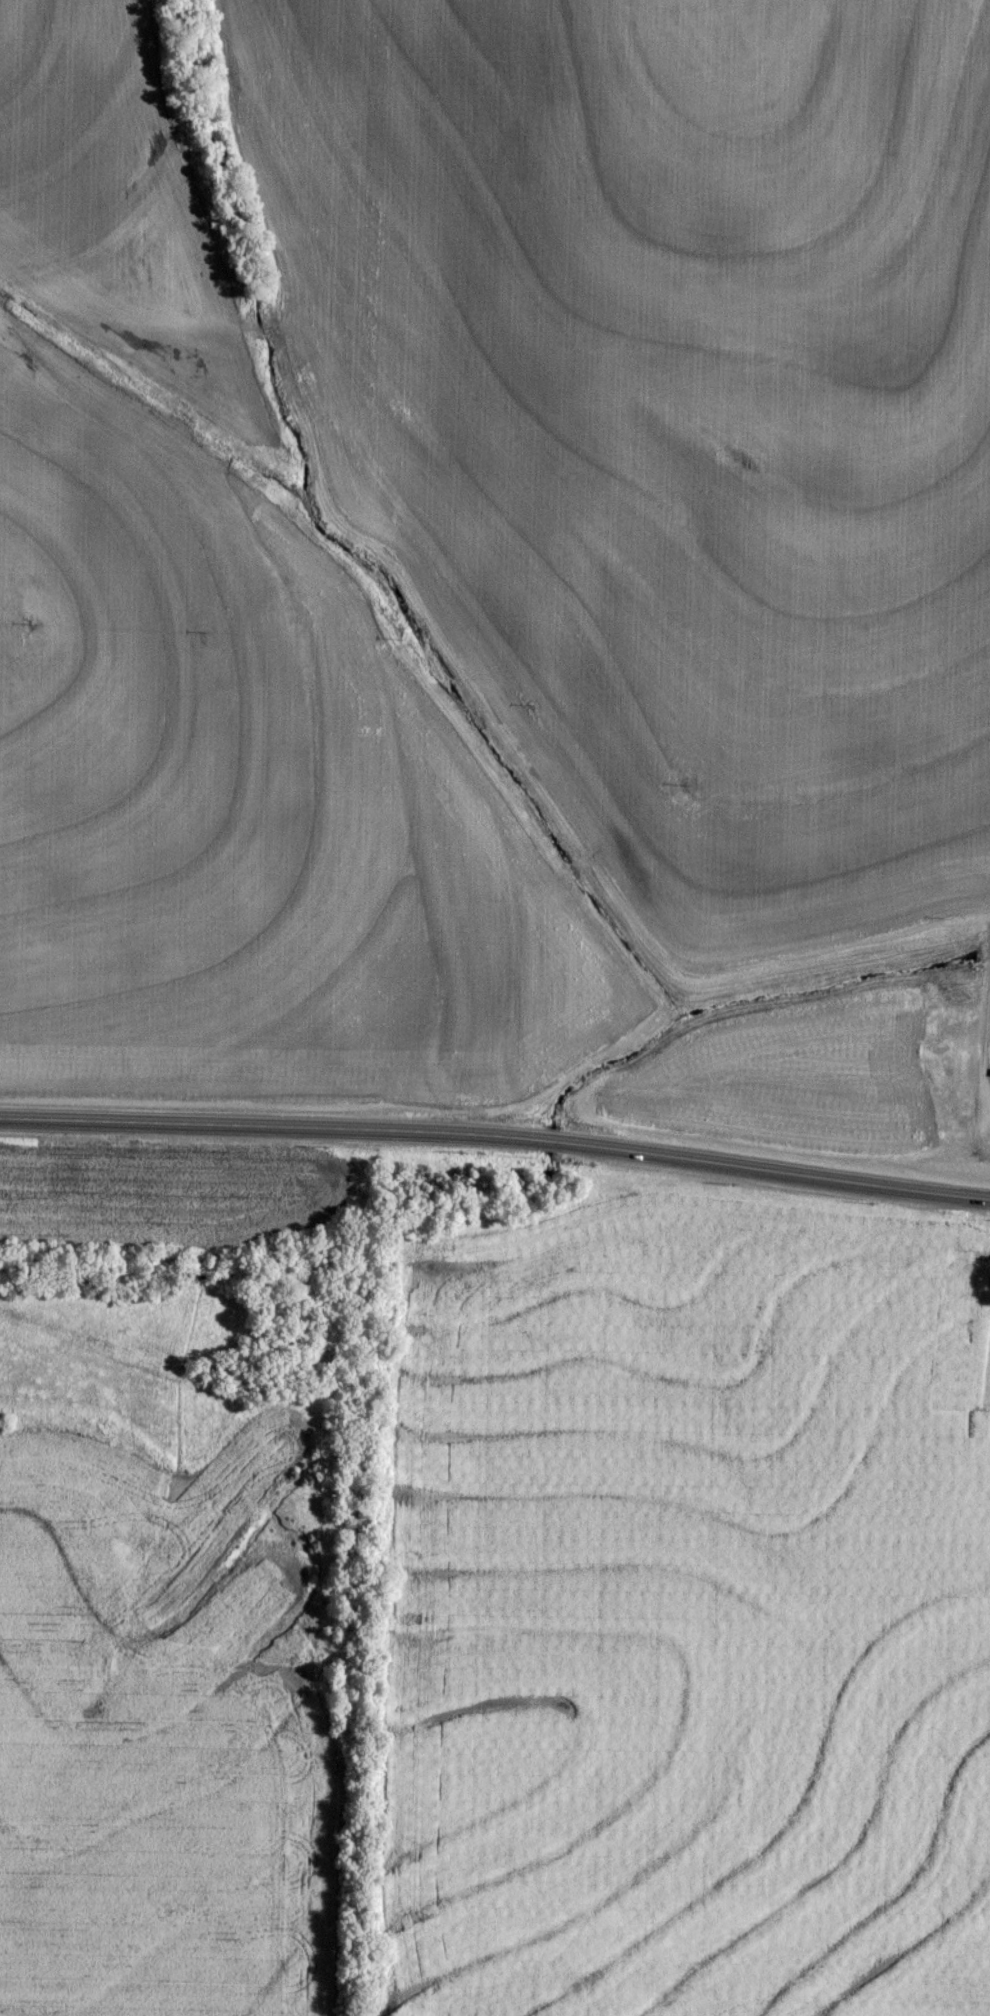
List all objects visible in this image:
crop: (105, 177)
crop: (672, 421)
crop: (251, 815)
road: (497, 1134)
crop: (691, 1611)

